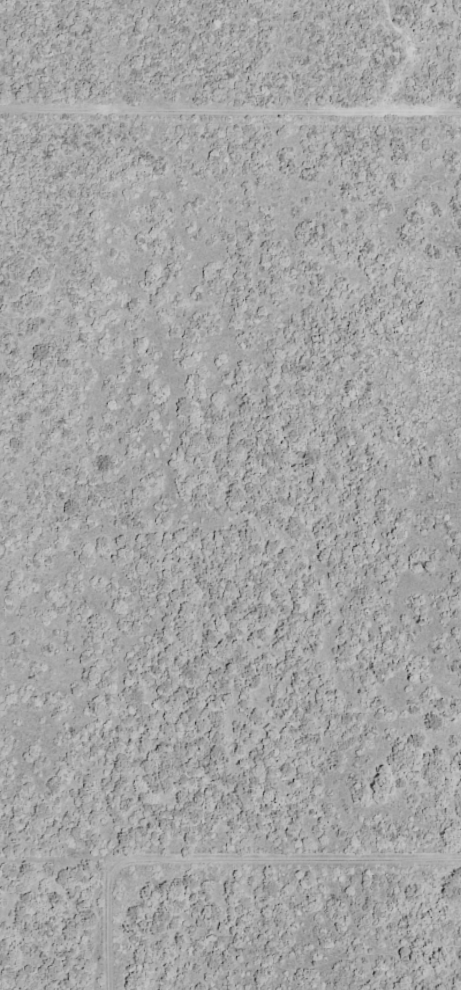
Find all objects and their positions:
road: (209, 211)
road: (217, 542)

